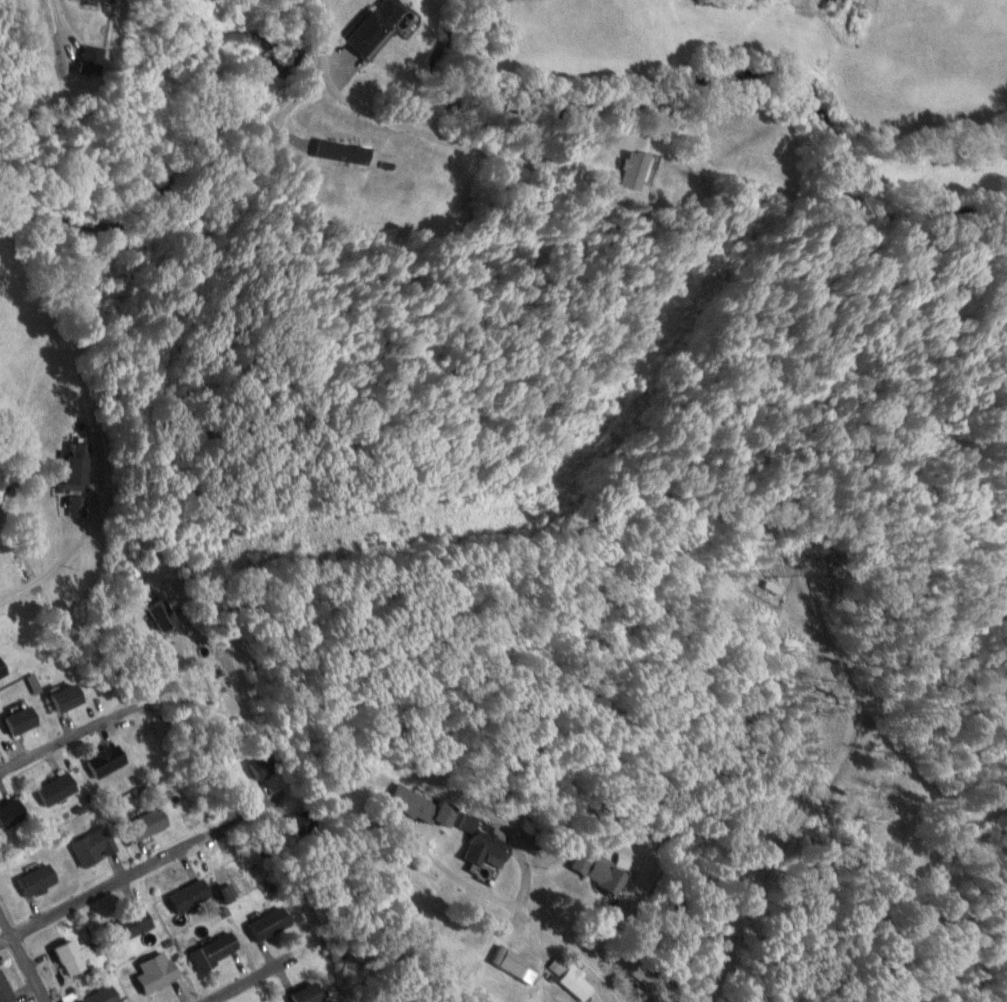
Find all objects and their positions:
building: (105, 0)
building: (375, 26)
road: (316, 34)
building: (341, 151)
building: (633, 171)
building: (706, 226)
building: (75, 468)
building: (78, 506)
power tower: (520, 509)
road: (18, 586)
building: (163, 614)
building: (66, 697)
road: (113, 716)
building: (21, 720)
building: (106, 761)
building: (264, 765)
building: (58, 788)
building: (413, 804)
building: (148, 824)
building: (483, 842)
building: (93, 847)
road: (169, 863)
building: (603, 875)
building: (37, 880)
building: (190, 896)
building: (268, 925)
building: (130, 926)
road: (344, 945)
building: (215, 952)
building: (70, 957)
road: (22, 962)
building: (514, 964)
building: (156, 972)
building: (577, 984)
building: (5, 990)
building: (308, 994)
building: (102, 996)

